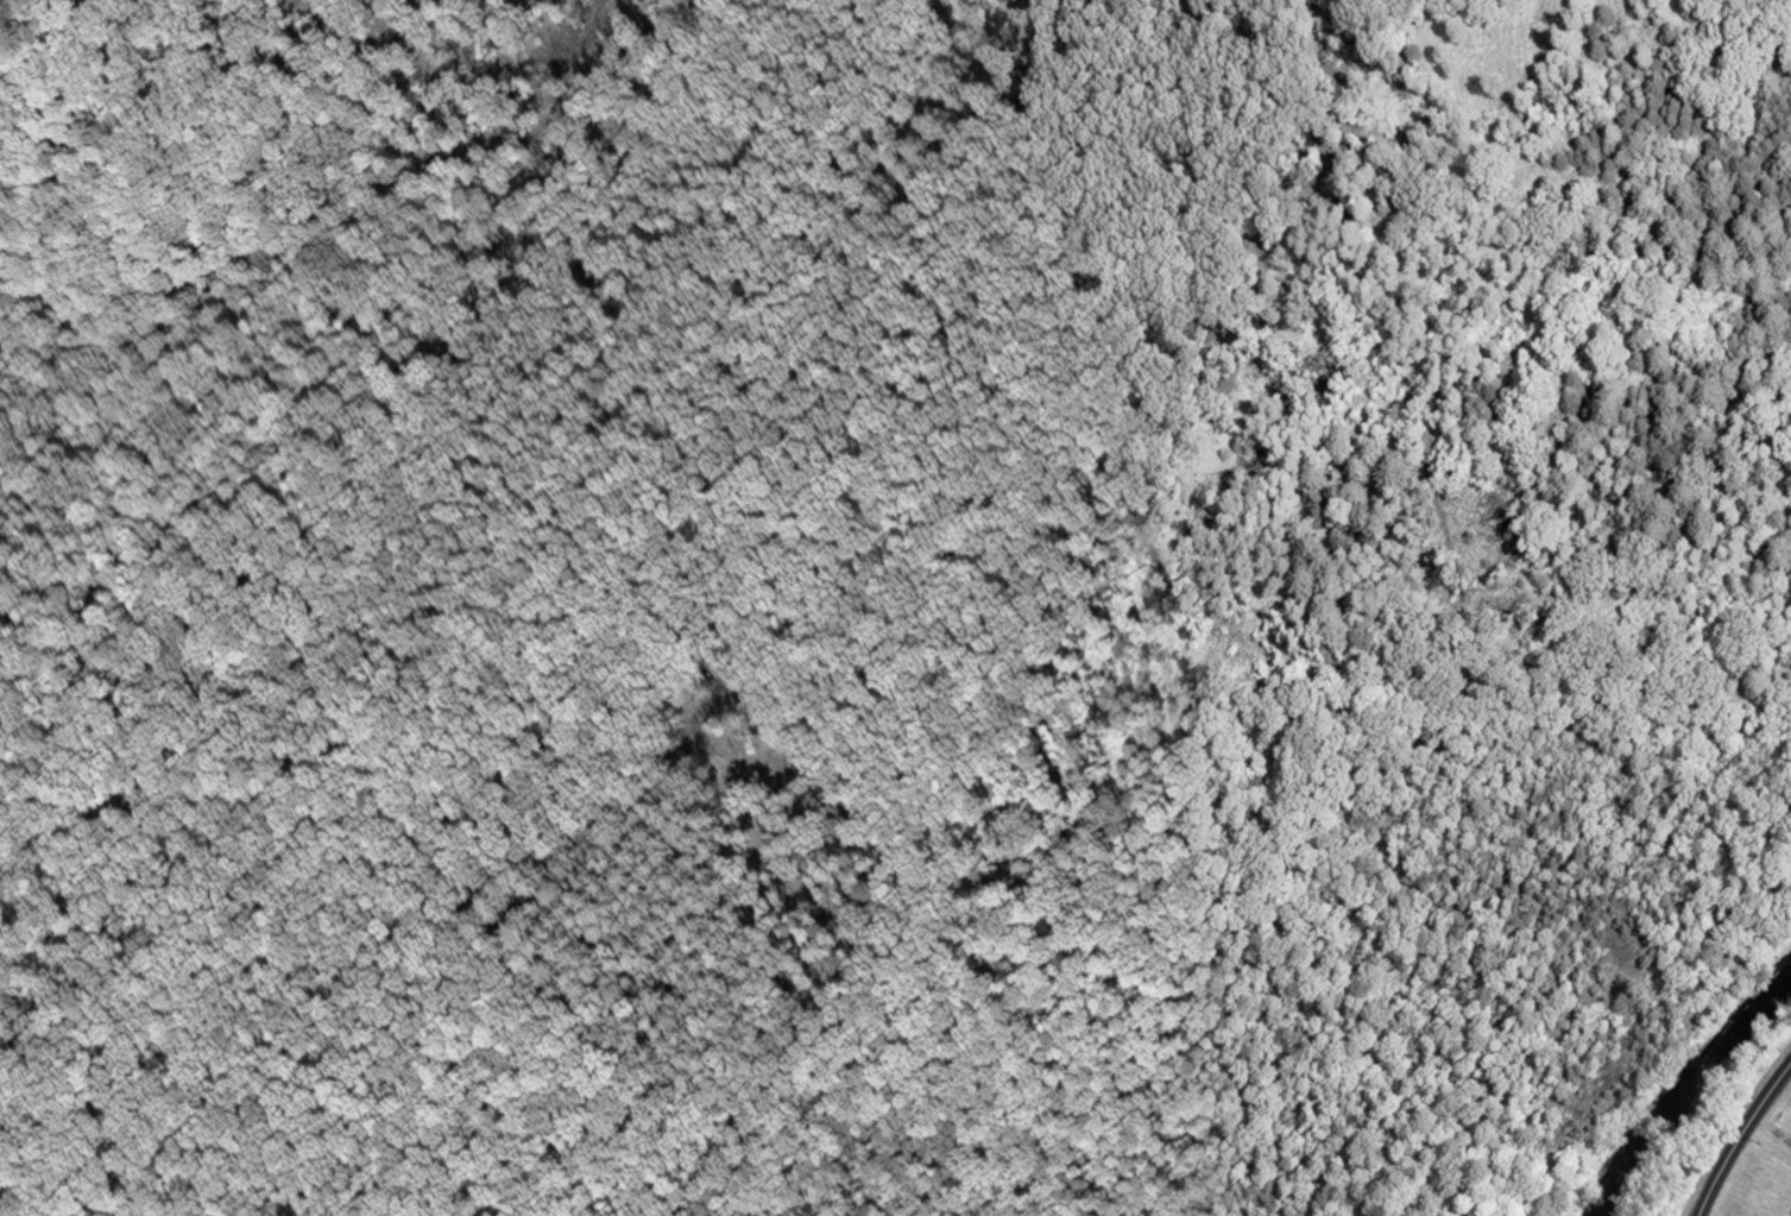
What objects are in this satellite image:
river: (1690, 1083)
road: (1738, 1135)

